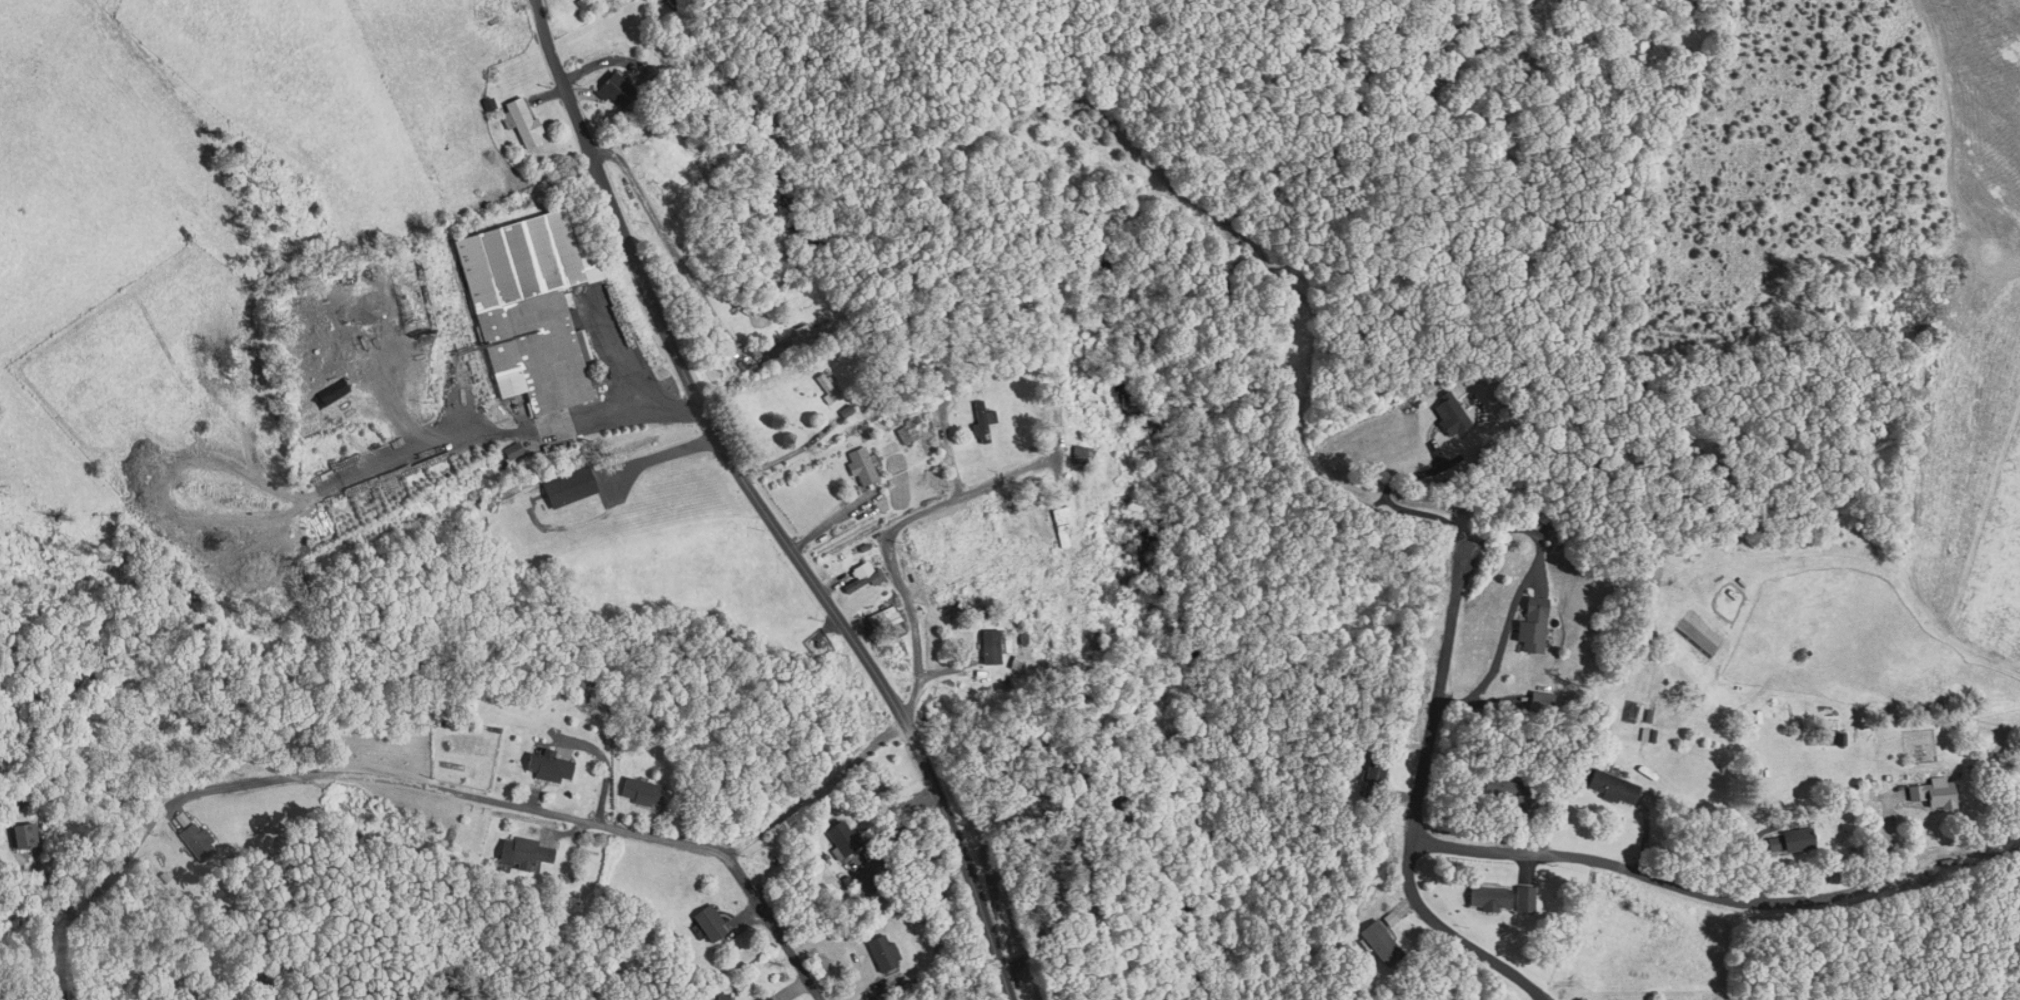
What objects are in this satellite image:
building: (615, 89)
building: (523, 121)
building: (1236, 207)
building: (1230, 261)
road: (1055, 292)
building: (529, 308)
building: (810, 332)
road: (685, 377)
building: (826, 385)
building: (1452, 412)
building: (981, 420)
building: (1079, 451)
building: (861, 463)
building: (570, 485)
building: (1063, 523)
building: (1658, 565)
building: (861, 573)
road: (903, 589)
building: (886, 620)
building: (1536, 624)
building: (990, 646)
park: (217, 686)
building: (1542, 700)
road: (905, 731)
building: (1842, 736)
building: (548, 765)
road: (323, 771)
building: (1374, 773)
building: (1614, 785)
building: (1508, 788)
building: (641, 789)
building: (1935, 792)
road: (809, 795)
road: (1413, 807)
building: (30, 834)
building: (843, 835)
building: (1800, 837)
building: (195, 839)
building: (522, 852)
road: (967, 868)
road: (1715, 895)
building: (1490, 896)
building: (1525, 897)
building: (709, 919)
road: (765, 922)
building: (1381, 942)
building: (883, 949)
building: (775, 997)
building: (764, 998)

